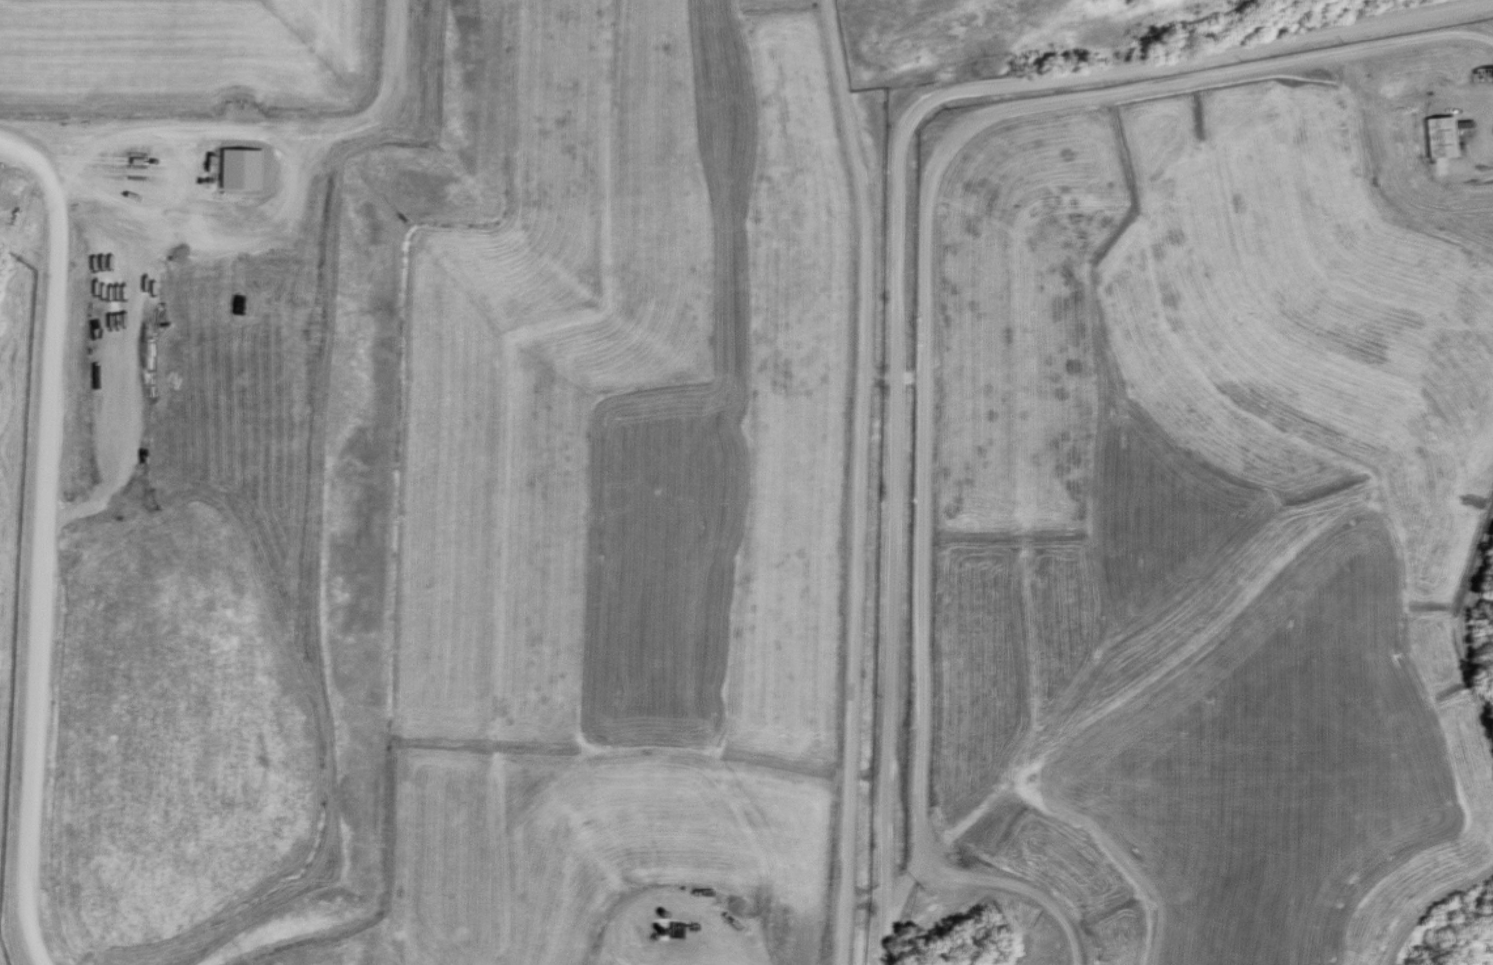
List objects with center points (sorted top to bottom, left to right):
building: (1445, 137)
road: (896, 241)
road: (51, 335)
road: (1194, 400)
road: (858, 480)

